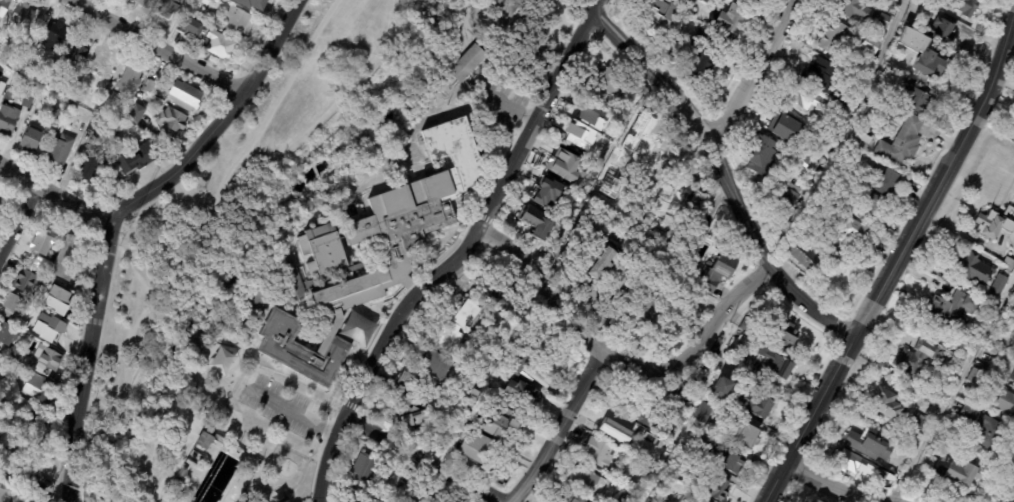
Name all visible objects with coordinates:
building: (755, 0)
building: (143, 3)
building: (207, 3)
building: (886, 3)
park: (575, 4)
building: (258, 6)
road: (588, 6)
road: (597, 6)
building: (962, 6)
building: (5, 8)
building: (168, 9)
building: (666, 13)
building: (853, 14)
building: (24, 16)
parking lot: (498, 16)
building: (240, 20)
building: (730, 20)
building: (880, 20)
building: (194, 29)
building: (939, 32)
building: (56, 36)
building: (833, 36)
building: (868, 45)
road: (385, 46)
road: (157, 47)
building: (223, 48)
building: (704, 52)
building: (76, 53)
building: (918, 55)
building: (471, 63)
building: (26, 66)
building: (106, 66)
road: (750, 66)
building: (885, 69)
building: (11, 74)
building: (54, 75)
building: (819, 76)
building: (130, 82)
building: (611, 82)
building: (65, 85)
building: (152, 86)
building: (0, 88)
building: (111, 89)
building: (643, 90)
building: (82, 95)
building: (187, 97)
building: (29, 100)
building: (807, 100)
building: (913, 100)
building: (104, 108)
building: (58, 113)
building: (137, 113)
building: (837, 114)
road: (427, 116)
road: (380, 117)
road: (538, 118)
building: (1013, 119)
building: (9, 120)
building: (174, 122)
building: (590, 124)
building: (101, 127)
building: (783, 127)
road: (387, 128)
road: (307, 133)
road: (838, 133)
building: (33, 139)
building: (857, 141)
park: (294, 142)
building: (598, 143)
building: (900, 143)
building: (62, 150)
building: (760, 155)
building: (138, 160)
building: (802, 162)
building: (92, 166)
building: (566, 166)
road: (730, 174)
building: (879, 181)
building: (548, 193)
building: (1, 194)
building: (787, 196)
road: (57, 198)
road: (211, 200)
building: (870, 206)
building: (697, 209)
building: (401, 214)
road: (16, 217)
road: (119, 219)
building: (536, 222)
building: (994, 224)
building: (848, 229)
building: (47, 236)
road: (445, 254)
building: (70, 258)
building: (798, 258)
building: (830, 258)
road: (899, 259)
building: (1007, 263)
building: (43, 265)
building: (970, 269)
building: (716, 270)
building: (614, 271)
building: (28, 282)
building: (290, 282)
building: (996, 286)
building: (37, 293)
building: (503, 294)
building: (594, 295)
building: (59, 300)
building: (657, 305)
building: (14, 306)
building: (947, 312)
building: (469, 314)
building: (751, 325)
building: (49, 327)
road: (155, 331)
building: (9, 334)
building: (452, 337)
building: (791, 337)
building: (297, 347)
building: (991, 349)
road: (385, 352)
building: (21, 357)
building: (916, 357)
road: (263, 358)
building: (48, 359)
road: (619, 362)
building: (440, 366)
building: (532, 366)
building: (778, 366)
building: (974, 376)
building: (1013, 380)
building: (415, 386)
road: (952, 386)
building: (41, 387)
building: (722, 387)
building: (522, 392)
parking lot: (282, 401)
building: (1003, 401)
building: (929, 402)
building: (759, 405)
building: (880, 405)
building: (661, 411)
park: (194, 412)
road: (296, 413)
building: (968, 413)
building: (707, 414)
road: (134, 419)
building: (422, 420)
building: (511, 422)
building: (917, 424)
building: (613, 430)
building: (41, 431)
building: (3, 433)
road: (562, 433)
building: (988, 436)
building: (751, 437)
building: (205, 440)
building: (702, 445)
building: (868, 445)
building: (653, 446)
building: (482, 449)
building: (13, 451)
building: (598, 453)
road: (423, 459)
building: (684, 459)
building: (729, 461)
building: (258, 462)
building: (847, 463)
building: (5, 464)
road: (144, 464)
road: (168, 469)
building: (365, 469)
building: (182, 472)
building: (953, 472)
road: (302, 473)
building: (585, 479)
building: (174, 485)
building: (718, 488)
road: (834, 489)
building: (402, 492)
building: (4, 493)
building: (434, 494)
building: (574, 497)
road: (1011, 497)
building: (33, 498)
building: (697, 500)
building: (702, 500)
building: (377, 501)
building: (669, 501)
building: (811, 501)

